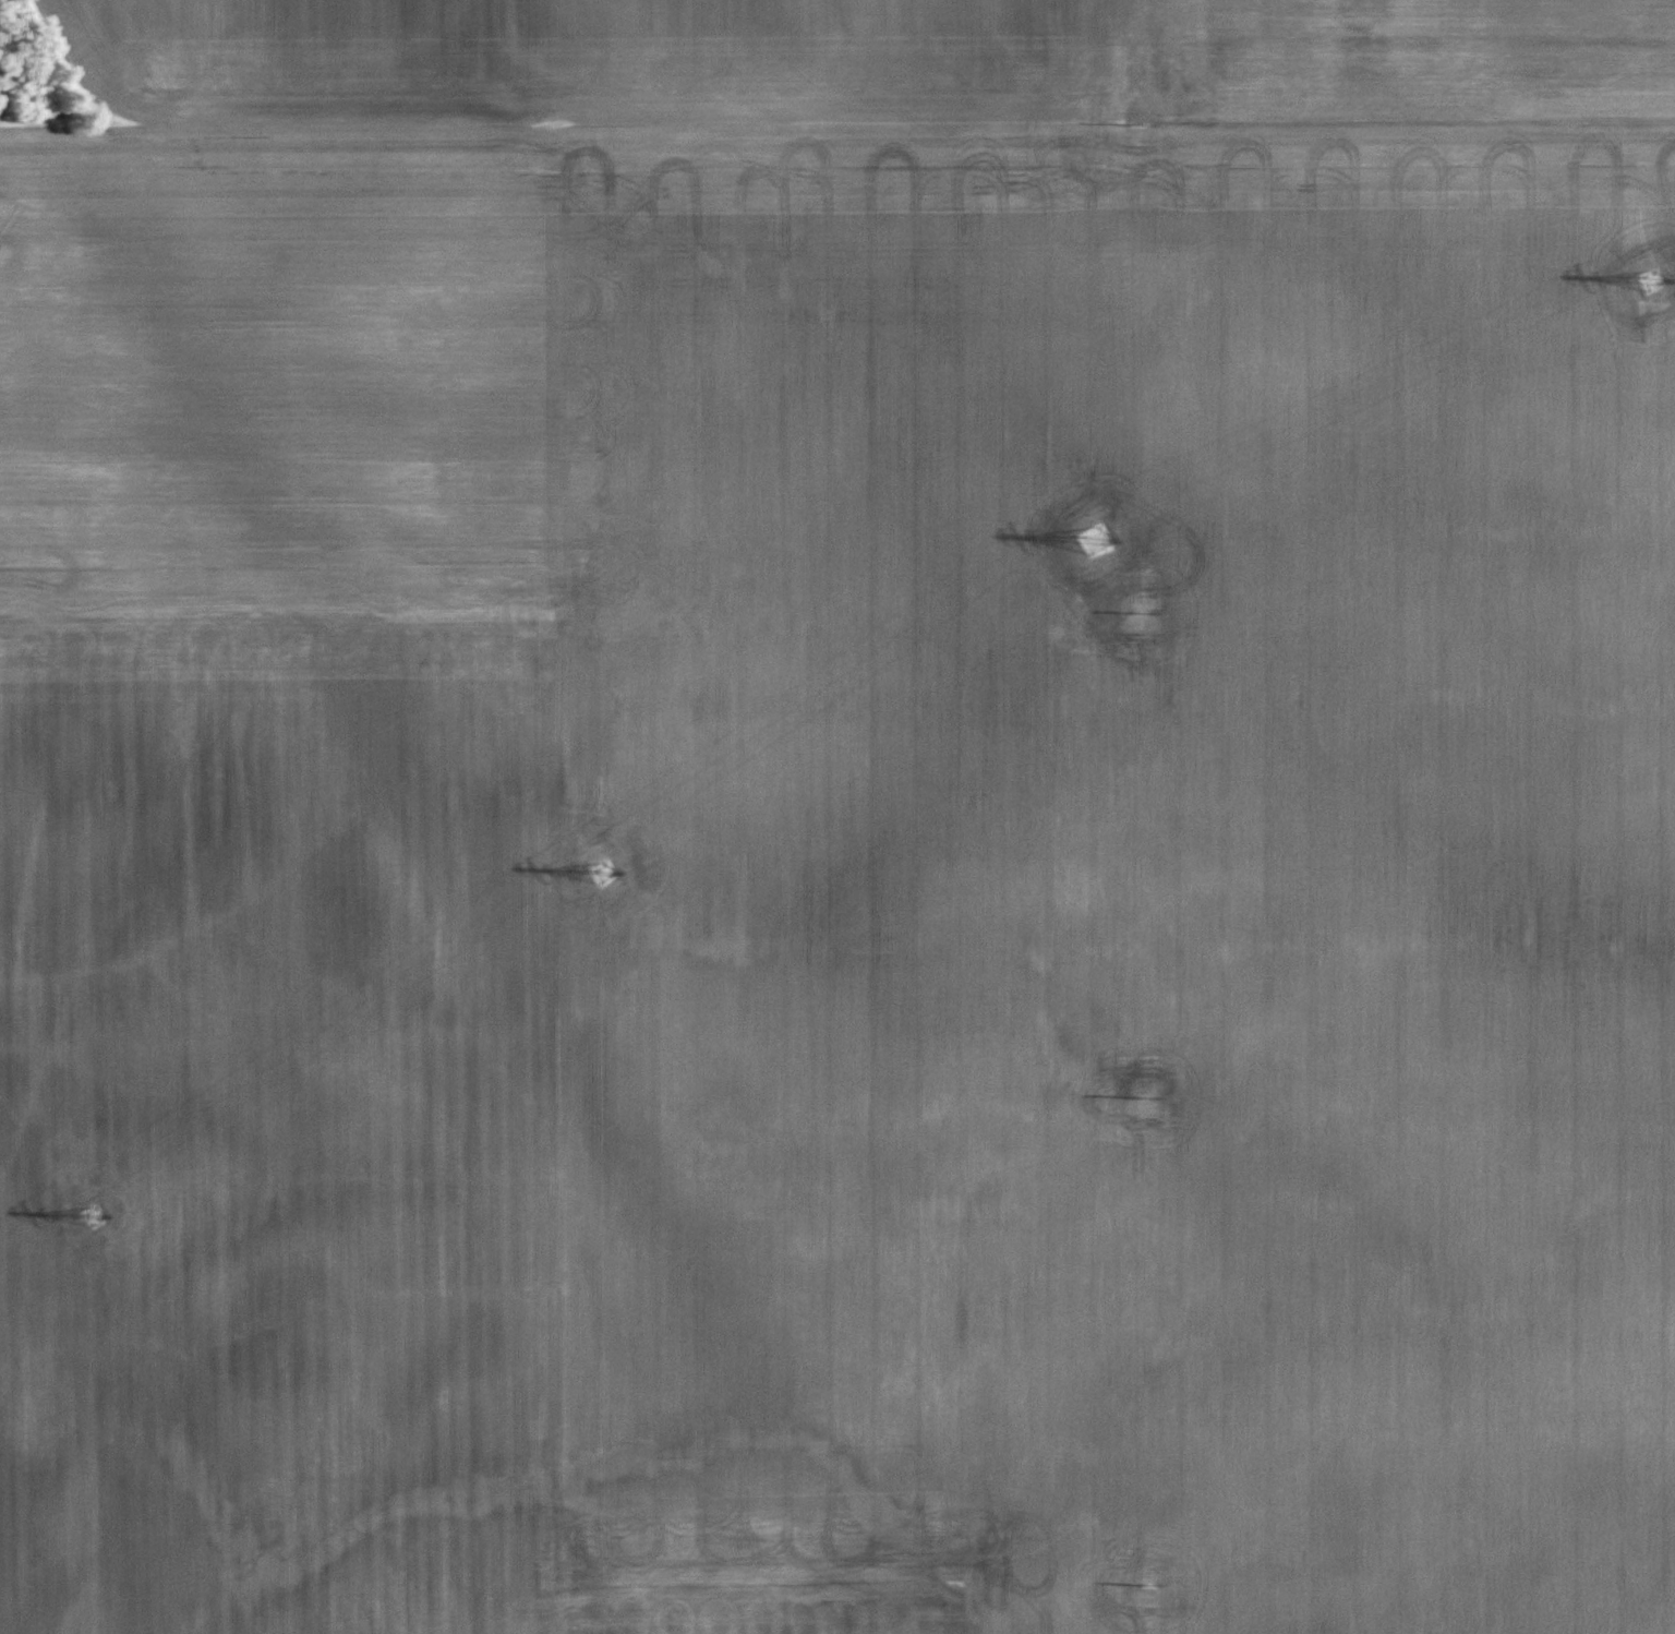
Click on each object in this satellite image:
power tower: (1643, 273)
power tower: (1102, 534)
power tower: (605, 865)
power tower: (89, 1211)

